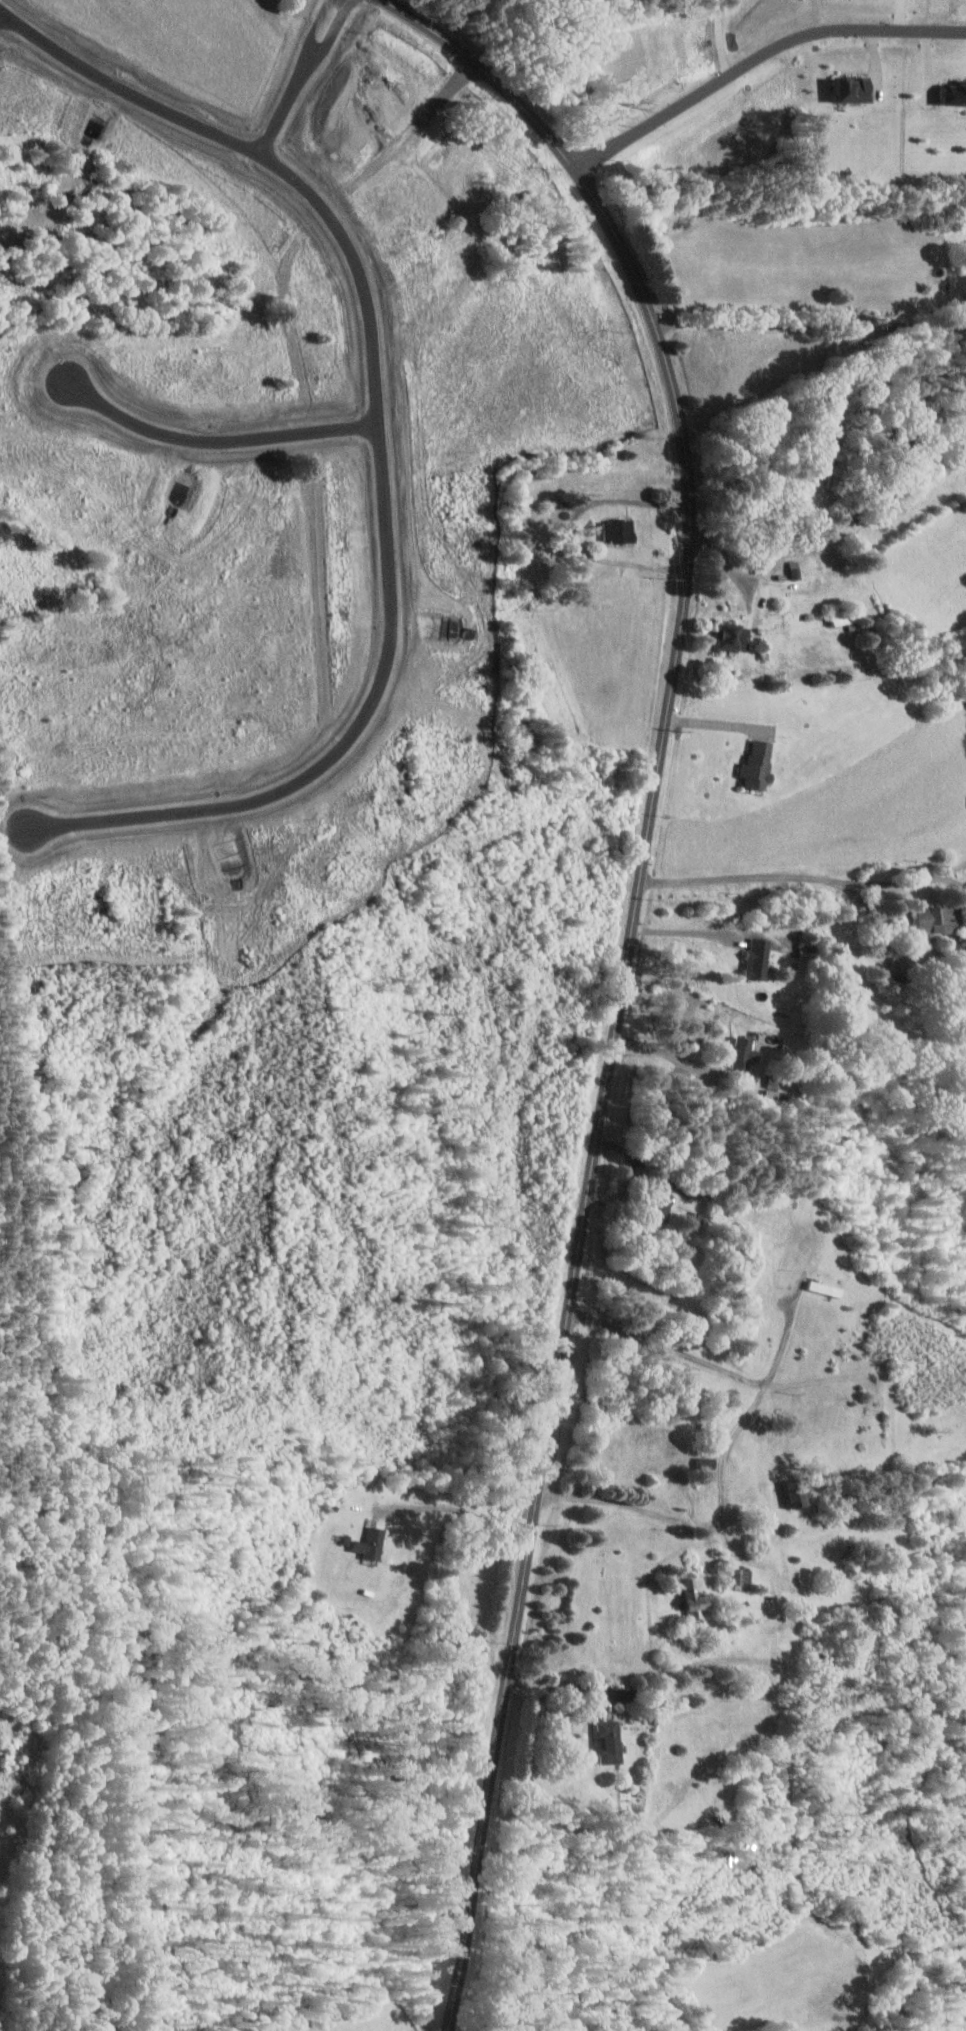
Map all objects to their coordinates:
road: (2, 19)
road: (314, 25)
road: (332, 28)
road: (715, 36)
road: (754, 51)
building: (856, 89)
building: (954, 94)
road: (284, 103)
building: (329, 152)
building: (400, 228)
road: (812, 324)
road: (374, 459)
road: (573, 529)
building: (620, 531)
building: (734, 637)
road: (715, 722)
building: (759, 766)
road: (803, 880)
building: (939, 919)
road: (899, 926)
road: (685, 932)
building: (758, 959)
road: (625, 964)
building: (743, 1053)
road: (675, 1056)
road: (630, 1174)
road: (711, 1365)
road: (720, 1468)
building: (799, 1492)
road: (630, 1505)
road: (455, 1509)
building: (744, 1578)
building: (696, 1598)
road: (597, 1685)
building: (610, 1741)

